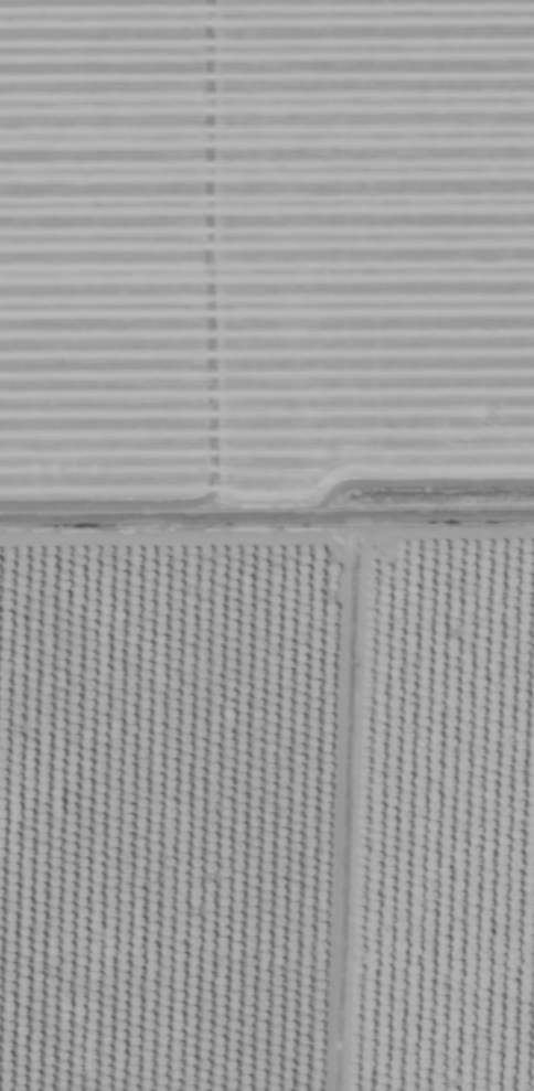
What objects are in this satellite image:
road: (266, 517)
crop: (267, 545)

